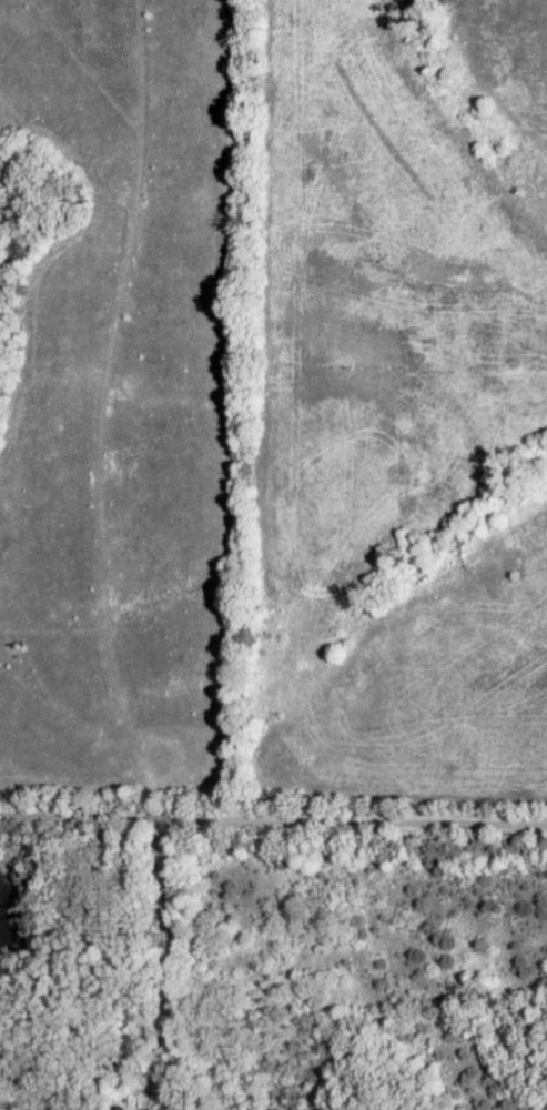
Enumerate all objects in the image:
road: (273, 819)
road: (156, 941)

